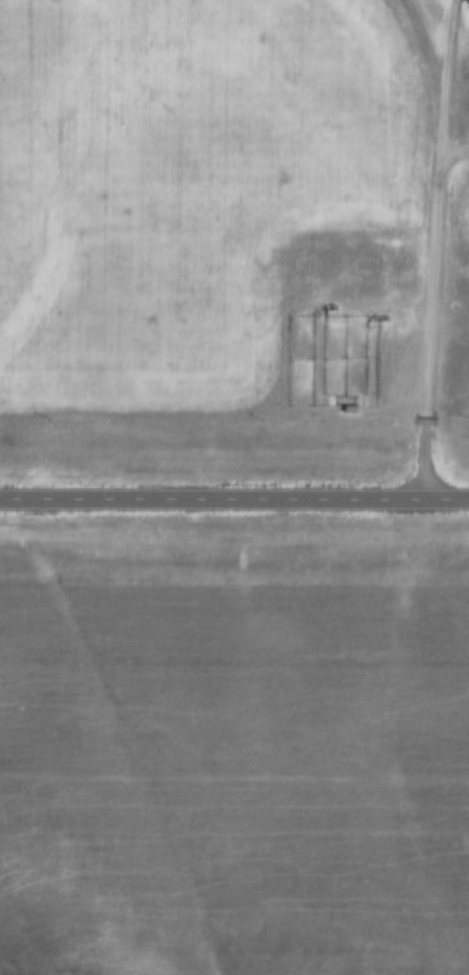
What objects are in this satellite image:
road: (447, 84)
road: (431, 322)
road: (234, 505)

